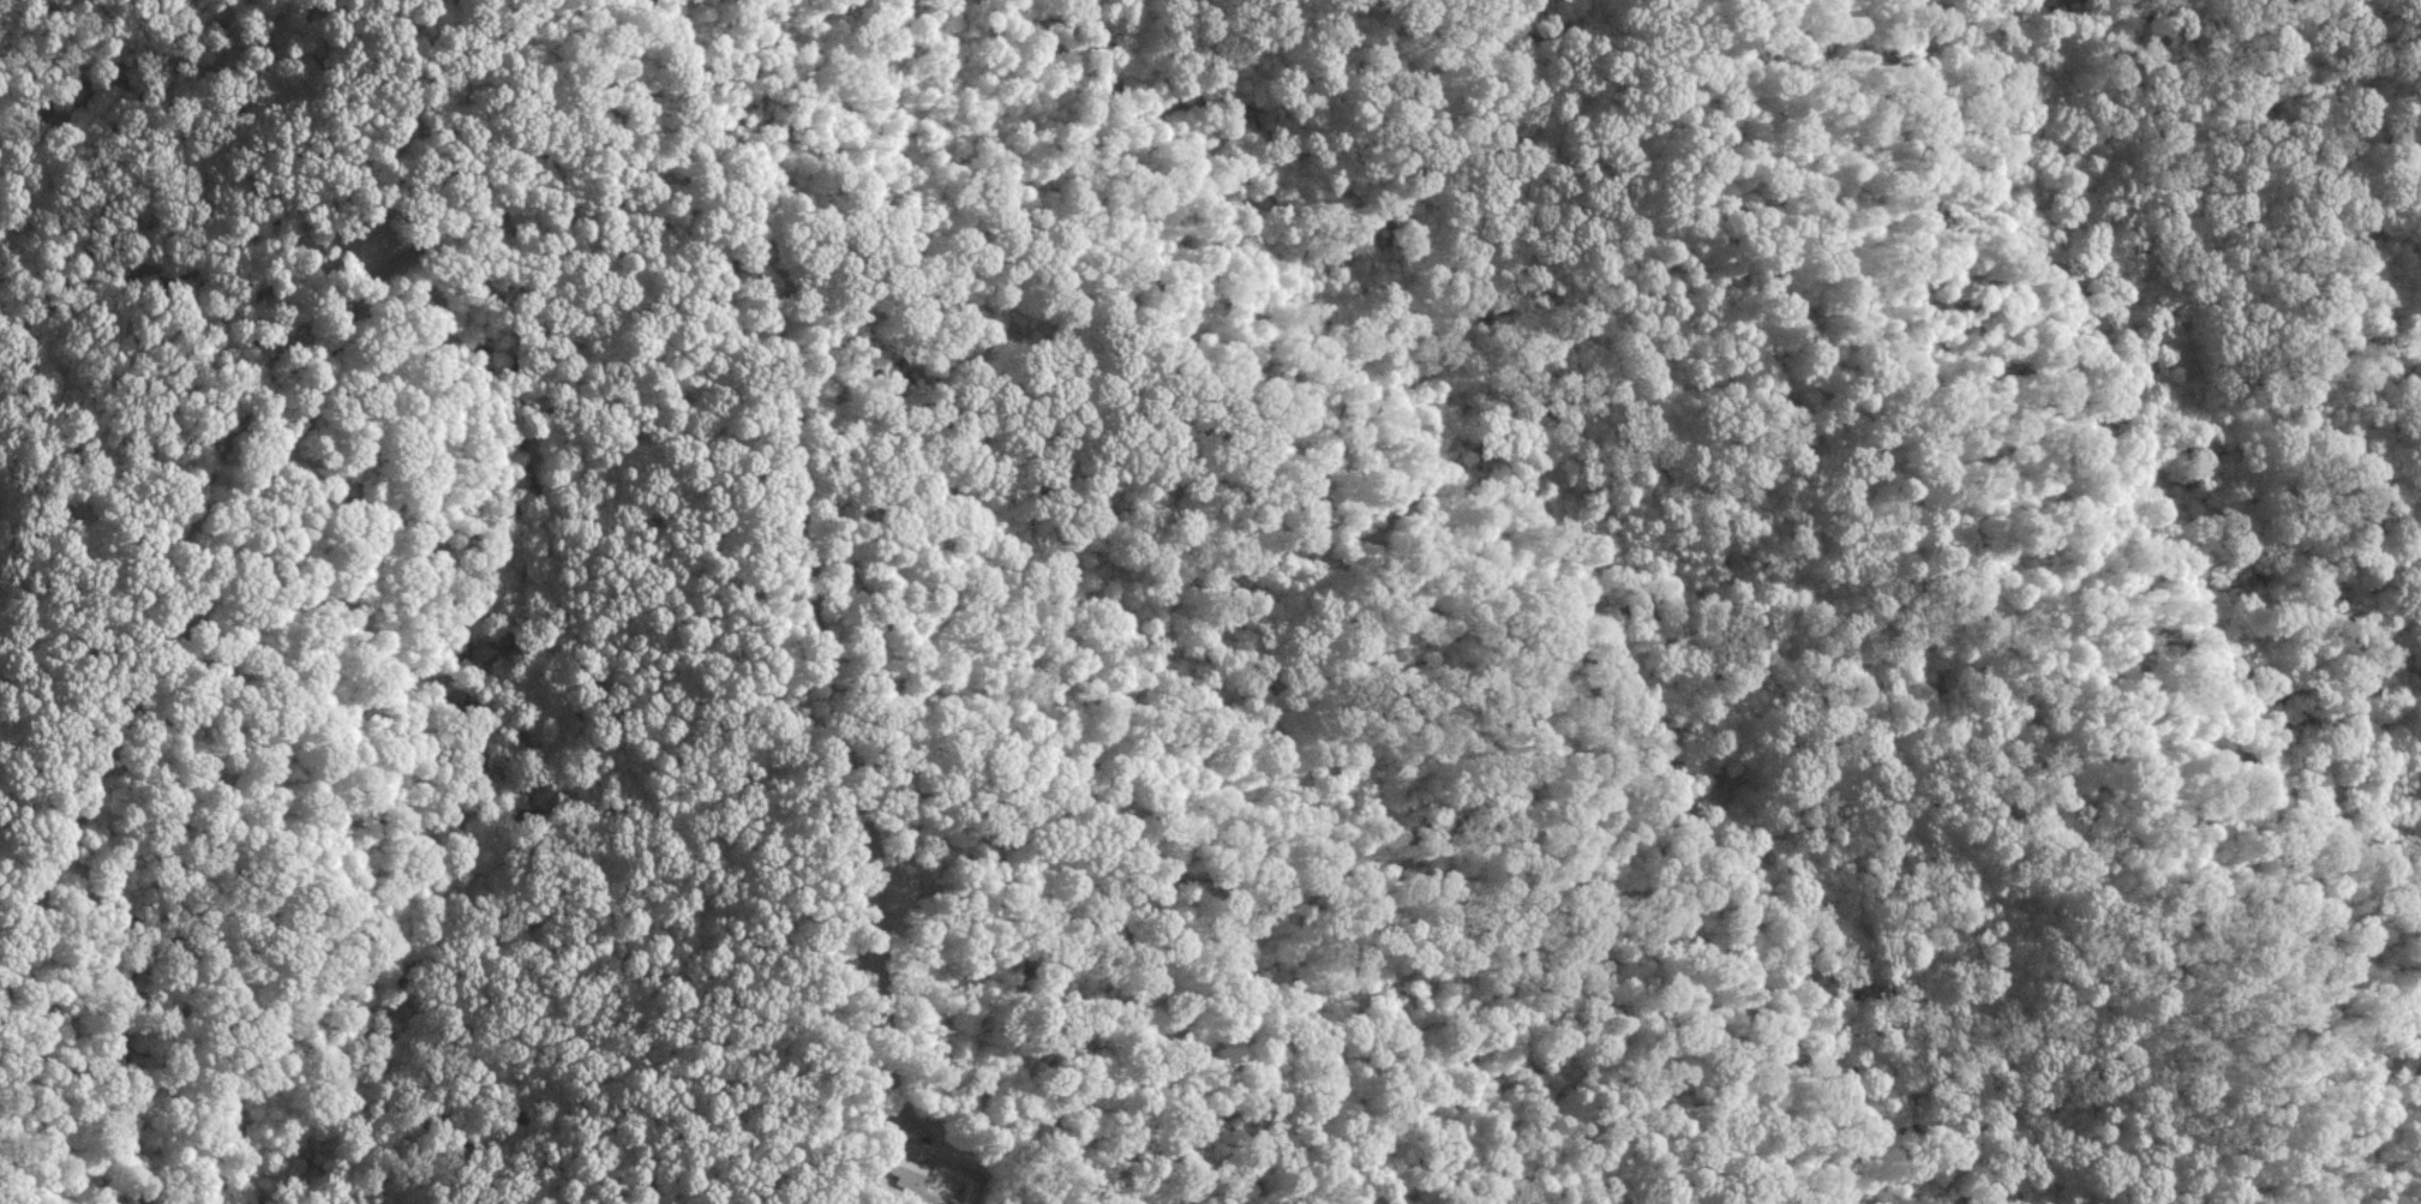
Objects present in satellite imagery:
road: (642, 212)

